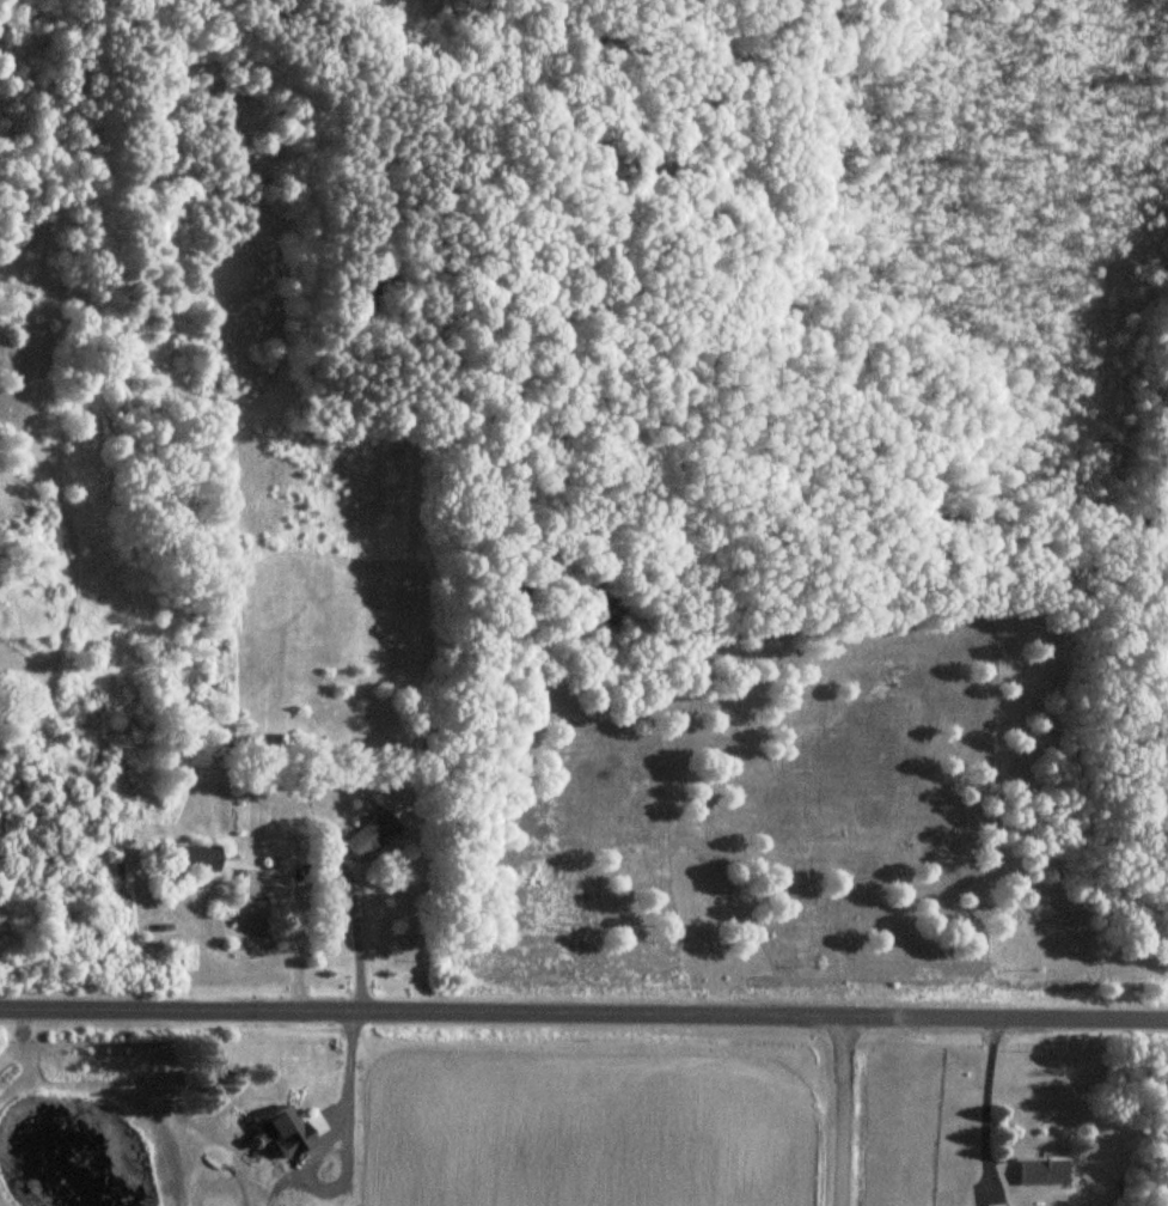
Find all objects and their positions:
building: (365, 836)
building: (184, 859)
building: (258, 885)
road: (354, 945)
road: (583, 1016)
road: (982, 1110)
road: (839, 1111)
road: (342, 1147)
building: (1039, 1175)
building: (264, 1188)

